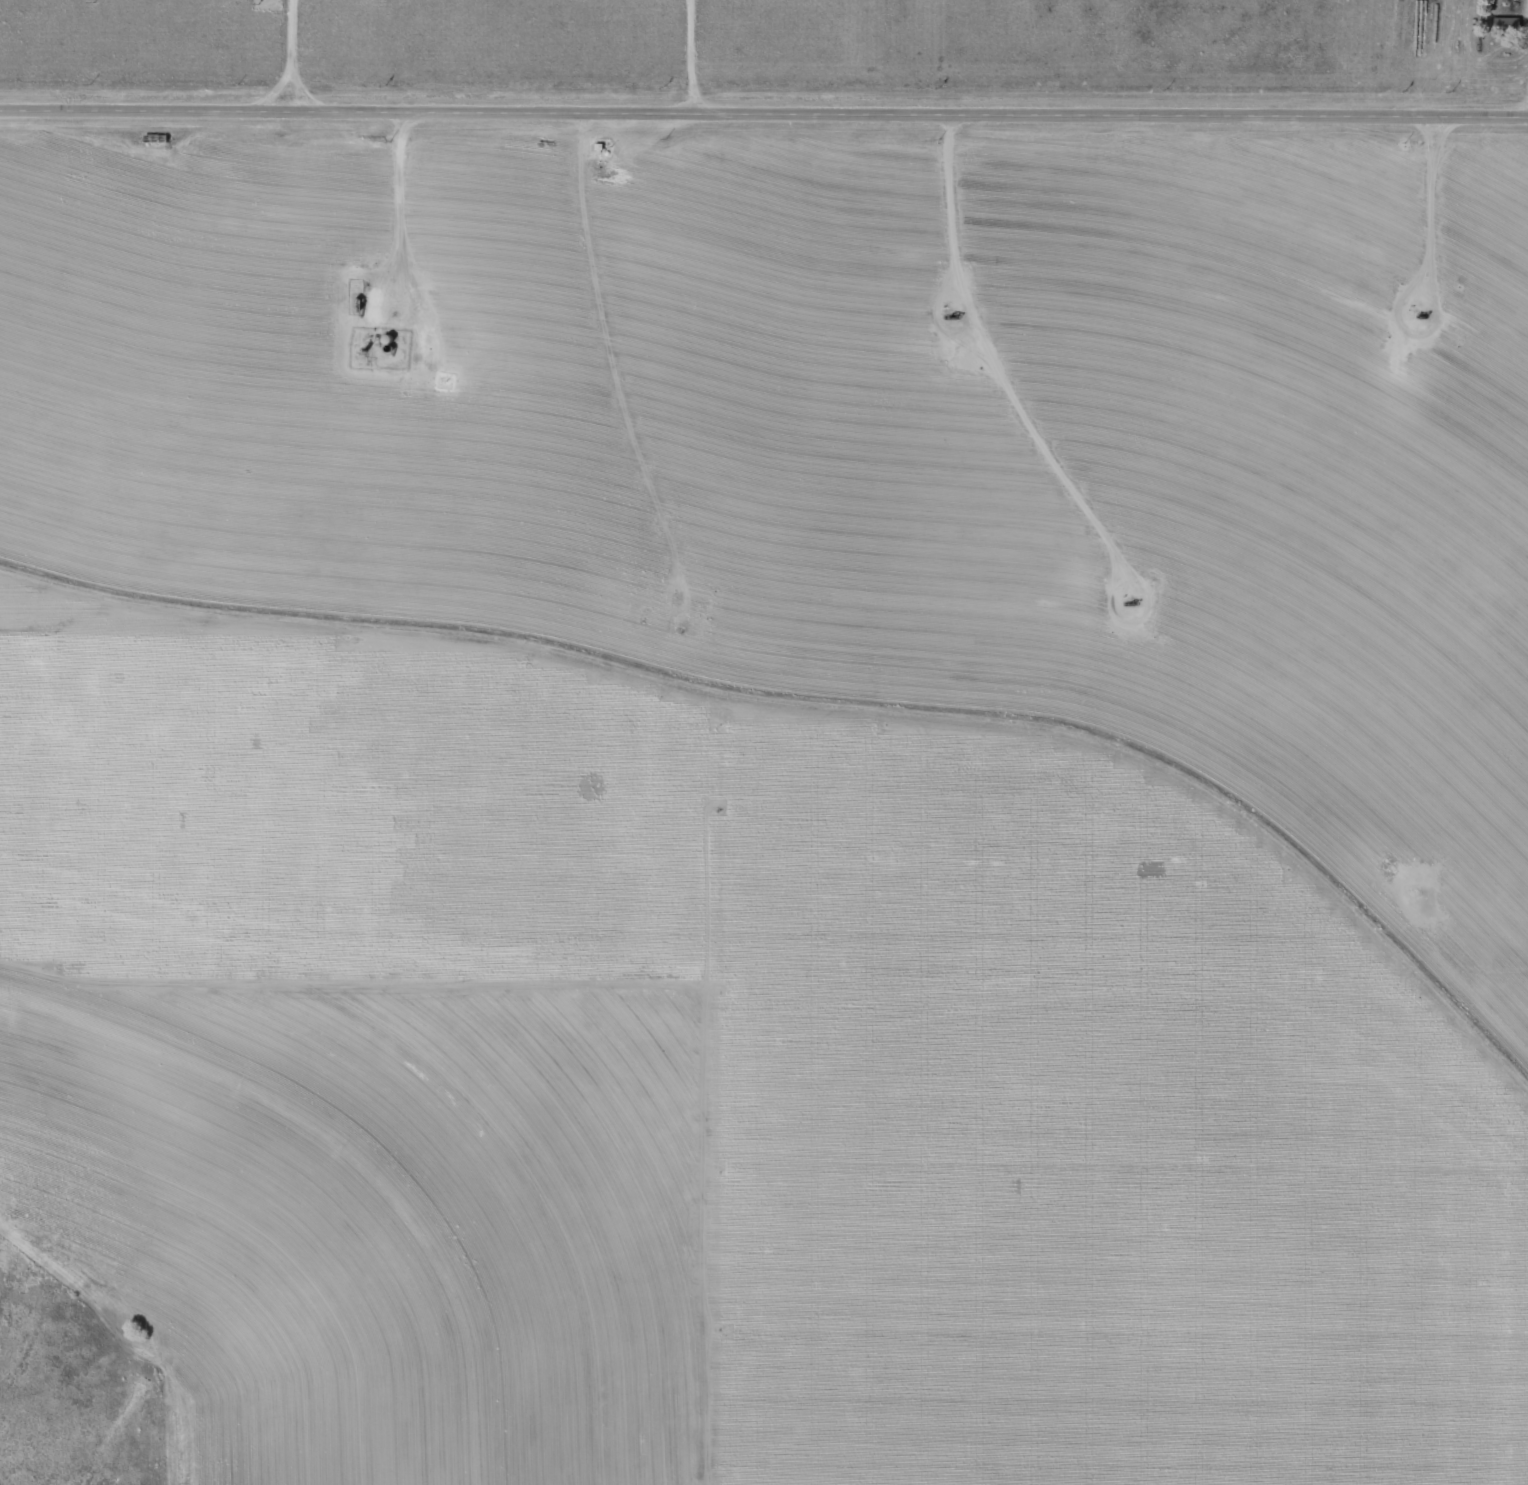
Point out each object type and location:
road: (763, 120)

